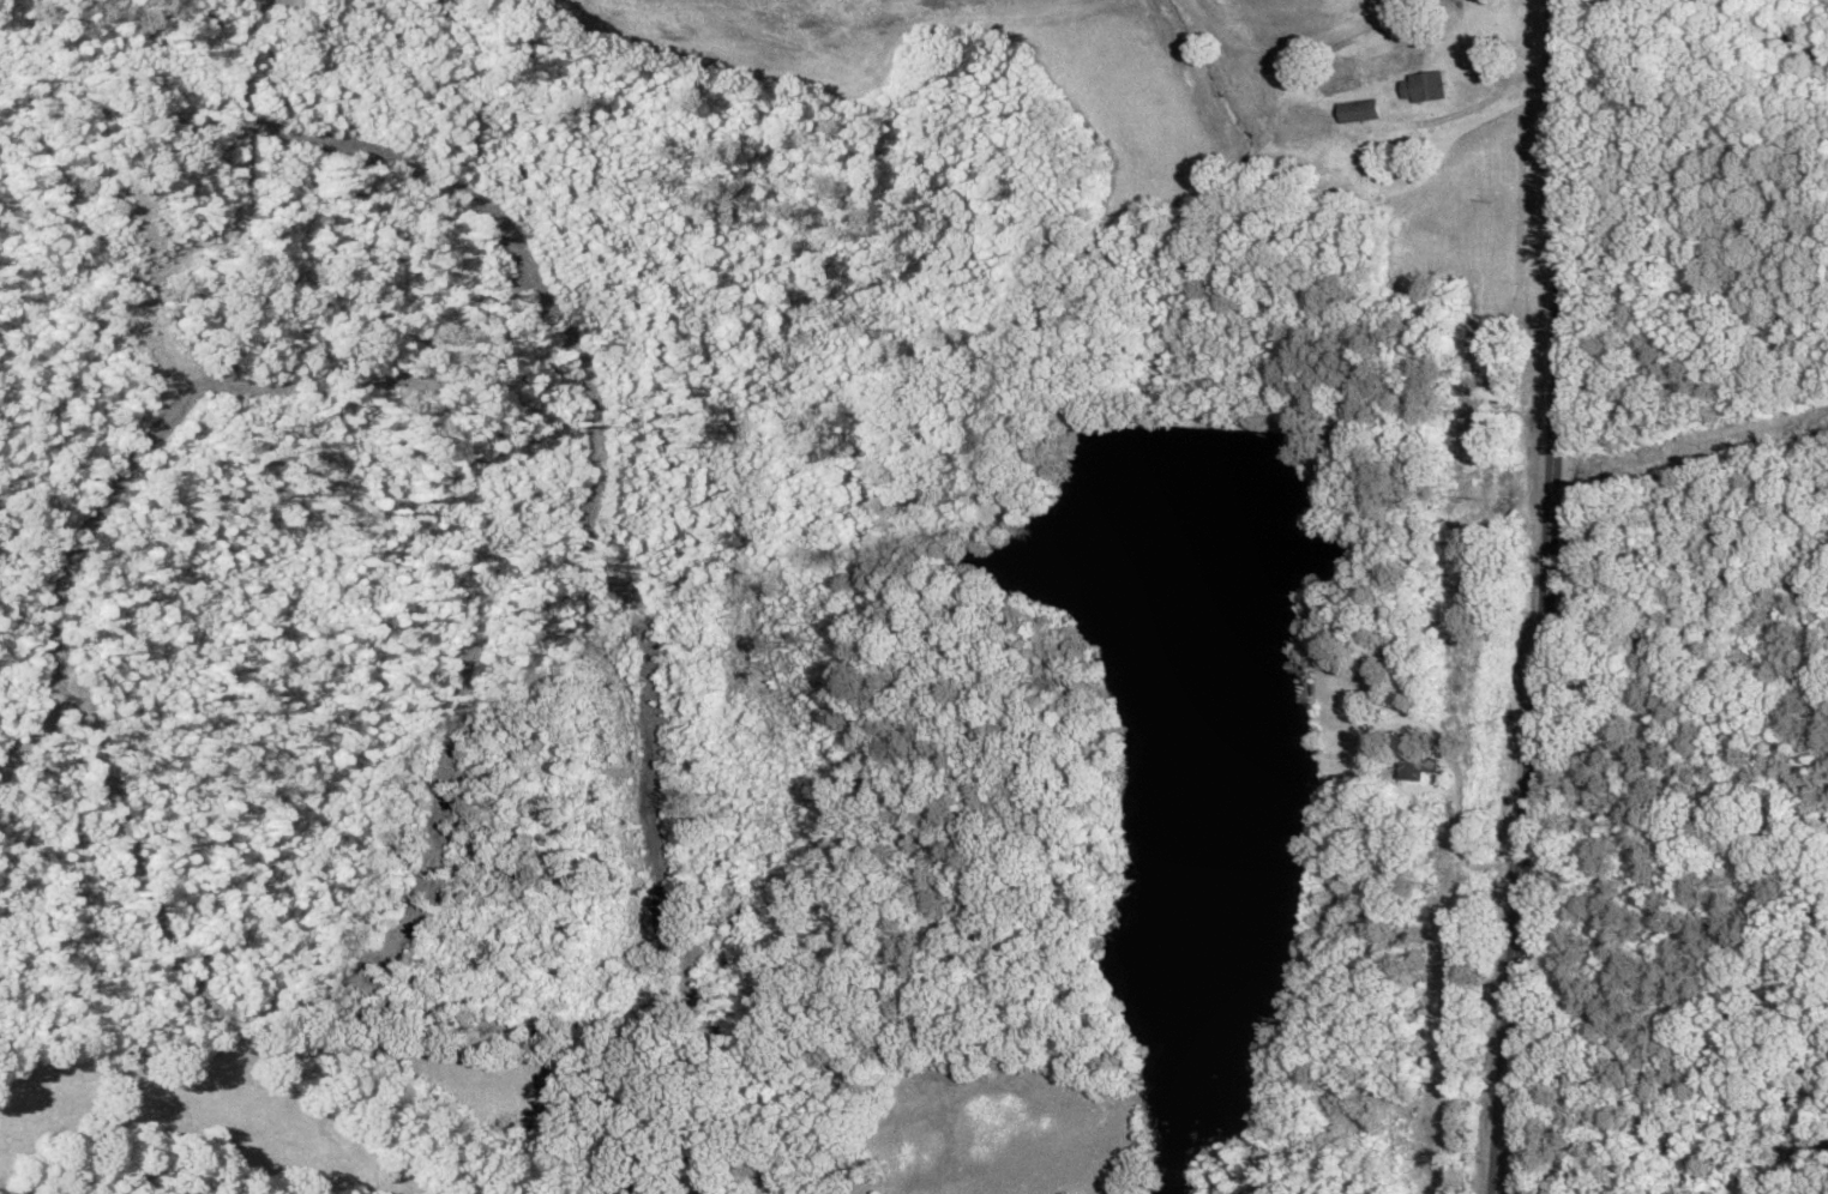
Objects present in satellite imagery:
building: (1426, 84)
building: (1361, 108)
road: (1504, 596)
building: (1417, 756)

